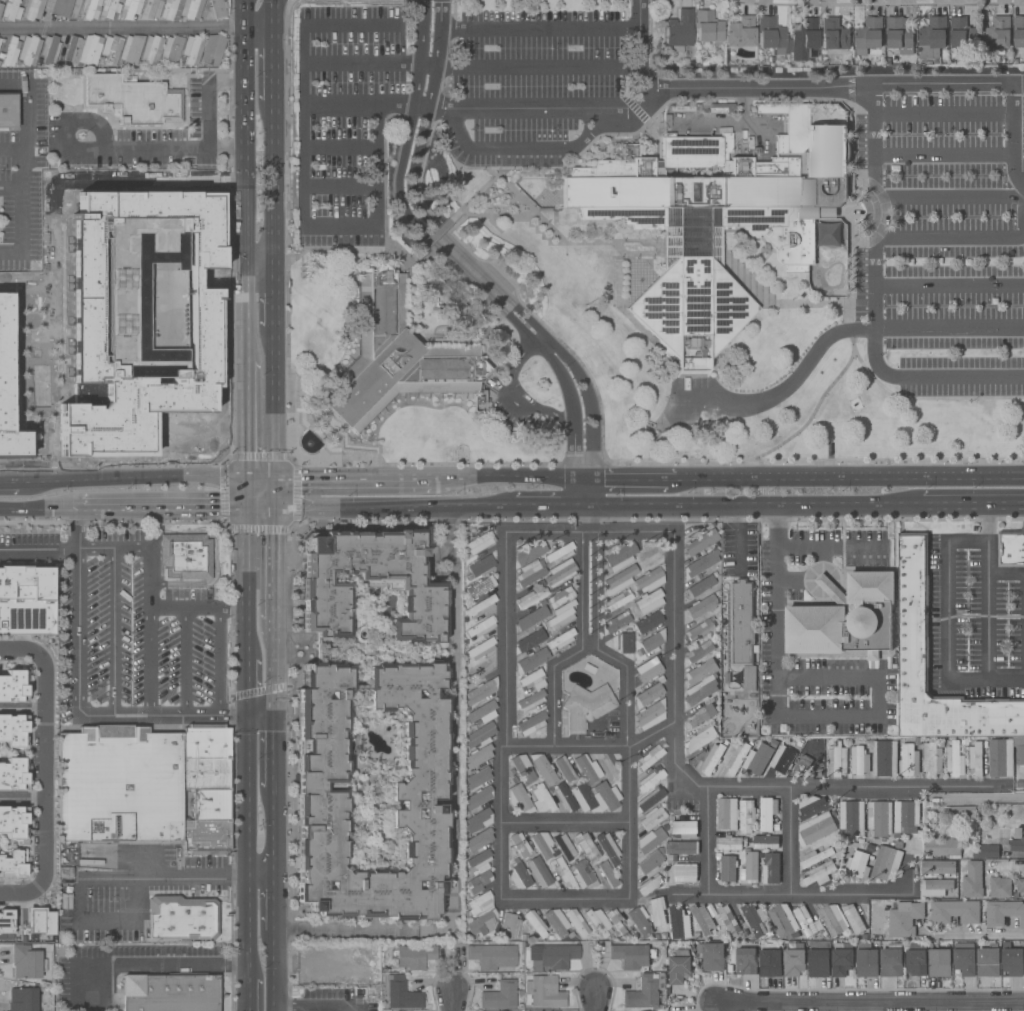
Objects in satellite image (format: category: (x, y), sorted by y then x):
building: (1, 7)
building: (61, 7)
building: (110, 8)
building: (130, 8)
building: (191, 8)
building: (33, 9)
building: (90, 9)
building: (151, 9)
building: (171, 9)
building: (217, 9)
building: (11, 10)
road: (243, 14)
road: (273, 14)
road: (333, 24)
building: (707, 26)
road: (136, 28)
road: (540, 29)
building: (680, 30)
building: (1018, 31)
building: (740, 32)
building: (961, 32)
building: (997, 33)
building: (770, 34)
building: (834, 34)
building: (868, 35)
building: (899, 35)
building: (804, 38)
building: (932, 38)
building: (0, 40)
road: (641, 46)
building: (131, 48)
building: (111, 49)
building: (151, 49)
building: (183, 49)
building: (212, 49)
building: (29, 50)
building: (49, 50)
building: (83, 50)
building: (11, 51)
road: (438, 54)
road: (427, 65)
road: (272, 67)
road: (539, 67)
parking lot: (540, 84)
road: (1018, 84)
road: (828, 85)
building: (133, 100)
road: (339, 105)
road: (422, 106)
building: (716, 107)
building: (682, 108)
road: (541, 109)
building: (8, 110)
road: (943, 113)
parking lot: (345, 119)
road: (21, 136)
road: (1012, 137)
road: (340, 147)
road: (141, 149)
road: (226, 149)
road: (522, 149)
road: (10, 150)
road: (243, 153)
road: (943, 155)
road: (340, 186)
road: (272, 191)
road: (950, 196)
road: (303, 199)
building: (714, 220)
road: (20, 230)
road: (951, 237)
parking lot: (947, 241)
road: (444, 254)
road: (258, 278)
road: (485, 283)
road: (948, 285)
road: (504, 290)
road: (873, 300)
road: (272, 302)
road: (244, 321)
road: (948, 327)
building: (134, 337)
building: (4, 356)
building: (394, 356)
road: (515, 391)
road: (774, 395)
road: (925, 398)
building: (480, 399)
road: (273, 405)
road: (863, 408)
road: (812, 415)
road: (245, 422)
building: (194, 442)
road: (657, 464)
road: (899, 477)
road: (636, 478)
road: (725, 478)
road: (513, 479)
road: (122, 480)
traffic signals: (245, 481)
road: (259, 482)
road: (352, 482)
traffic signals: (274, 483)
road: (577, 492)
road: (596, 492)
road: (245, 496)
road: (274, 497)
road: (972, 504)
road: (758, 505)
road: (550, 506)
road: (587, 506)
road: (398, 508)
road: (39, 510)
road: (161, 511)
road: (259, 511)
traffic signals: (274, 511)
traffic signals: (245, 512)
road: (588, 531)
building: (701, 542)
building: (480, 543)
road: (39, 548)
road: (803, 548)
building: (1011, 548)
building: (530, 553)
building: (560, 553)
building: (619, 555)
building: (648, 556)
building: (185, 557)
road: (776, 557)
building: (699, 564)
building: (481, 566)
road: (245, 572)
building: (530, 573)
building: (560, 573)
road: (1005, 574)
road: (273, 575)
building: (650, 579)
building: (619, 580)
building: (369, 581)
building: (700, 586)
building: (480, 587)
road: (150, 589)
building: (560, 597)
building: (531, 598)
building: (26, 600)
building: (914, 600)
building: (617, 601)
building: (649, 601)
building: (481, 605)
building: (700, 607)
road: (946, 609)
road: (986, 610)
building: (561, 615)
building: (532, 617)
building: (845, 617)
building: (617, 621)
building: (742, 622)
building: (648, 623)
building: (481, 627)
building: (701, 629)
road: (112, 632)
road: (597, 633)
road: (581, 634)
building: (561, 639)
building: (529, 641)
building: (625, 642)
building: (652, 642)
building: (480, 648)
building: (700, 650)
road: (149, 660)
building: (531, 661)
road: (184, 662)
road: (218, 662)
building: (479, 671)
building: (700, 671)
building: (648, 672)
building: (749, 678)
road: (858, 678)
building: (532, 679)
building: (13, 686)
building: (700, 690)
building: (481, 691)
building: (648, 693)
building: (531, 700)
road: (79, 707)
building: (584, 708)
road: (273, 711)
building: (481, 711)
building: (649, 715)
building: (700, 715)
road: (502, 716)
building: (531, 722)
road: (246, 725)
building: (13, 731)
building: (481, 735)
building: (700, 739)
building: (206, 741)
road: (589, 745)
building: (1018, 751)
building: (478, 756)
building: (650, 757)
building: (713, 757)
building: (738, 757)
building: (757, 758)
building: (885, 758)
building: (976, 758)
building: (1001, 758)
building: (783, 759)
building: (932, 759)
building: (954, 759)
building: (837, 760)
building: (859, 760)
building: (908, 760)
building: (802, 764)
building: (206, 766)
building: (523, 768)
building: (543, 769)
building: (564, 769)
building: (586, 769)
building: (607, 769)
road: (43, 770)
building: (12, 775)
road: (232, 775)
building: (478, 775)
building: (649, 780)
building: (206, 781)
building: (119, 785)
road: (720, 786)
building: (416, 797)
building: (478, 797)
building: (595, 797)
building: (518, 798)
building: (649, 798)
road: (21, 799)
building: (541, 799)
building: (563, 799)
road: (982, 799)
road: (449, 804)
building: (211, 805)
building: (812, 807)
building: (960, 812)
building: (767, 813)
building: (726, 814)
building: (746, 816)
building: (652, 817)
building: (852, 817)
building: (905, 817)
building: (879, 818)
building: (478, 820)
building: (12, 822)
road: (564, 822)
road: (626, 822)
building: (685, 827)
building: (815, 829)
road: (272, 833)
building: (206, 838)
building: (479, 838)
building: (649, 840)
road: (789, 840)
building: (1017, 840)
road: (707, 841)
building: (766, 842)
building: (730, 843)
building: (542, 844)
building: (520, 845)
building: (564, 846)
building: (587, 847)
building: (681, 847)
building: (608, 848)
building: (941, 848)
building: (986, 849)
road: (246, 851)
building: (816, 858)
building: (478, 860)
building: (12, 861)
building: (651, 861)
building: (886, 862)
building: (858, 865)
building: (750, 868)
building: (771, 868)
building: (937, 868)
building: (729, 870)
building: (538, 872)
building: (685, 872)
building: (563, 873)
building: (820, 873)
building: (519, 875)
building: (582, 875)
building: (605, 875)
building: (973, 880)
building: (478, 881)
road: (179, 882)
building: (649, 885)
building: (1020, 886)
building: (1000, 887)
building: (935, 888)
road: (786, 894)
road: (563, 900)
building: (480, 903)
road: (272, 907)
building: (657, 910)
building: (955, 911)
building: (1003, 912)
building: (703, 917)
building: (854, 917)
building: (182, 918)
building: (755, 919)
building: (832, 919)
building: (904, 919)
building: (728, 920)
building: (778, 920)
building: (804, 920)
building: (6, 921)
building: (39, 921)
building: (598, 921)
building: (556, 922)
building: (576, 922)
building: (617, 922)
building: (639, 922)
building: (677, 922)
building: (535, 923)
building: (481, 924)
building: (509, 926)
road: (247, 932)
road: (1011, 933)
building: (632, 955)
building: (415, 956)
building: (492, 956)
building: (552, 956)
building: (711, 956)
building: (915, 958)
building: (818, 959)
building: (842, 959)
building: (746, 960)
building: (866, 960)
building: (891, 960)
building: (27, 961)
building: (770, 961)
building: (794, 961)
building: (964, 961)
building: (988, 961)
building: (1012, 961)
building: (939, 963)
road: (147, 964)
building: (679, 967)
road: (273, 970)
building: (170, 992)
building: (544, 992)
building: (644, 993)
building: (400, 994)
building: (500, 995)
road: (248, 997)
building: (22, 999)
road: (871, 1000)
road: (453, 1001)
road: (595, 1001)
road: (318, 1006)
building: (47, 1009)

